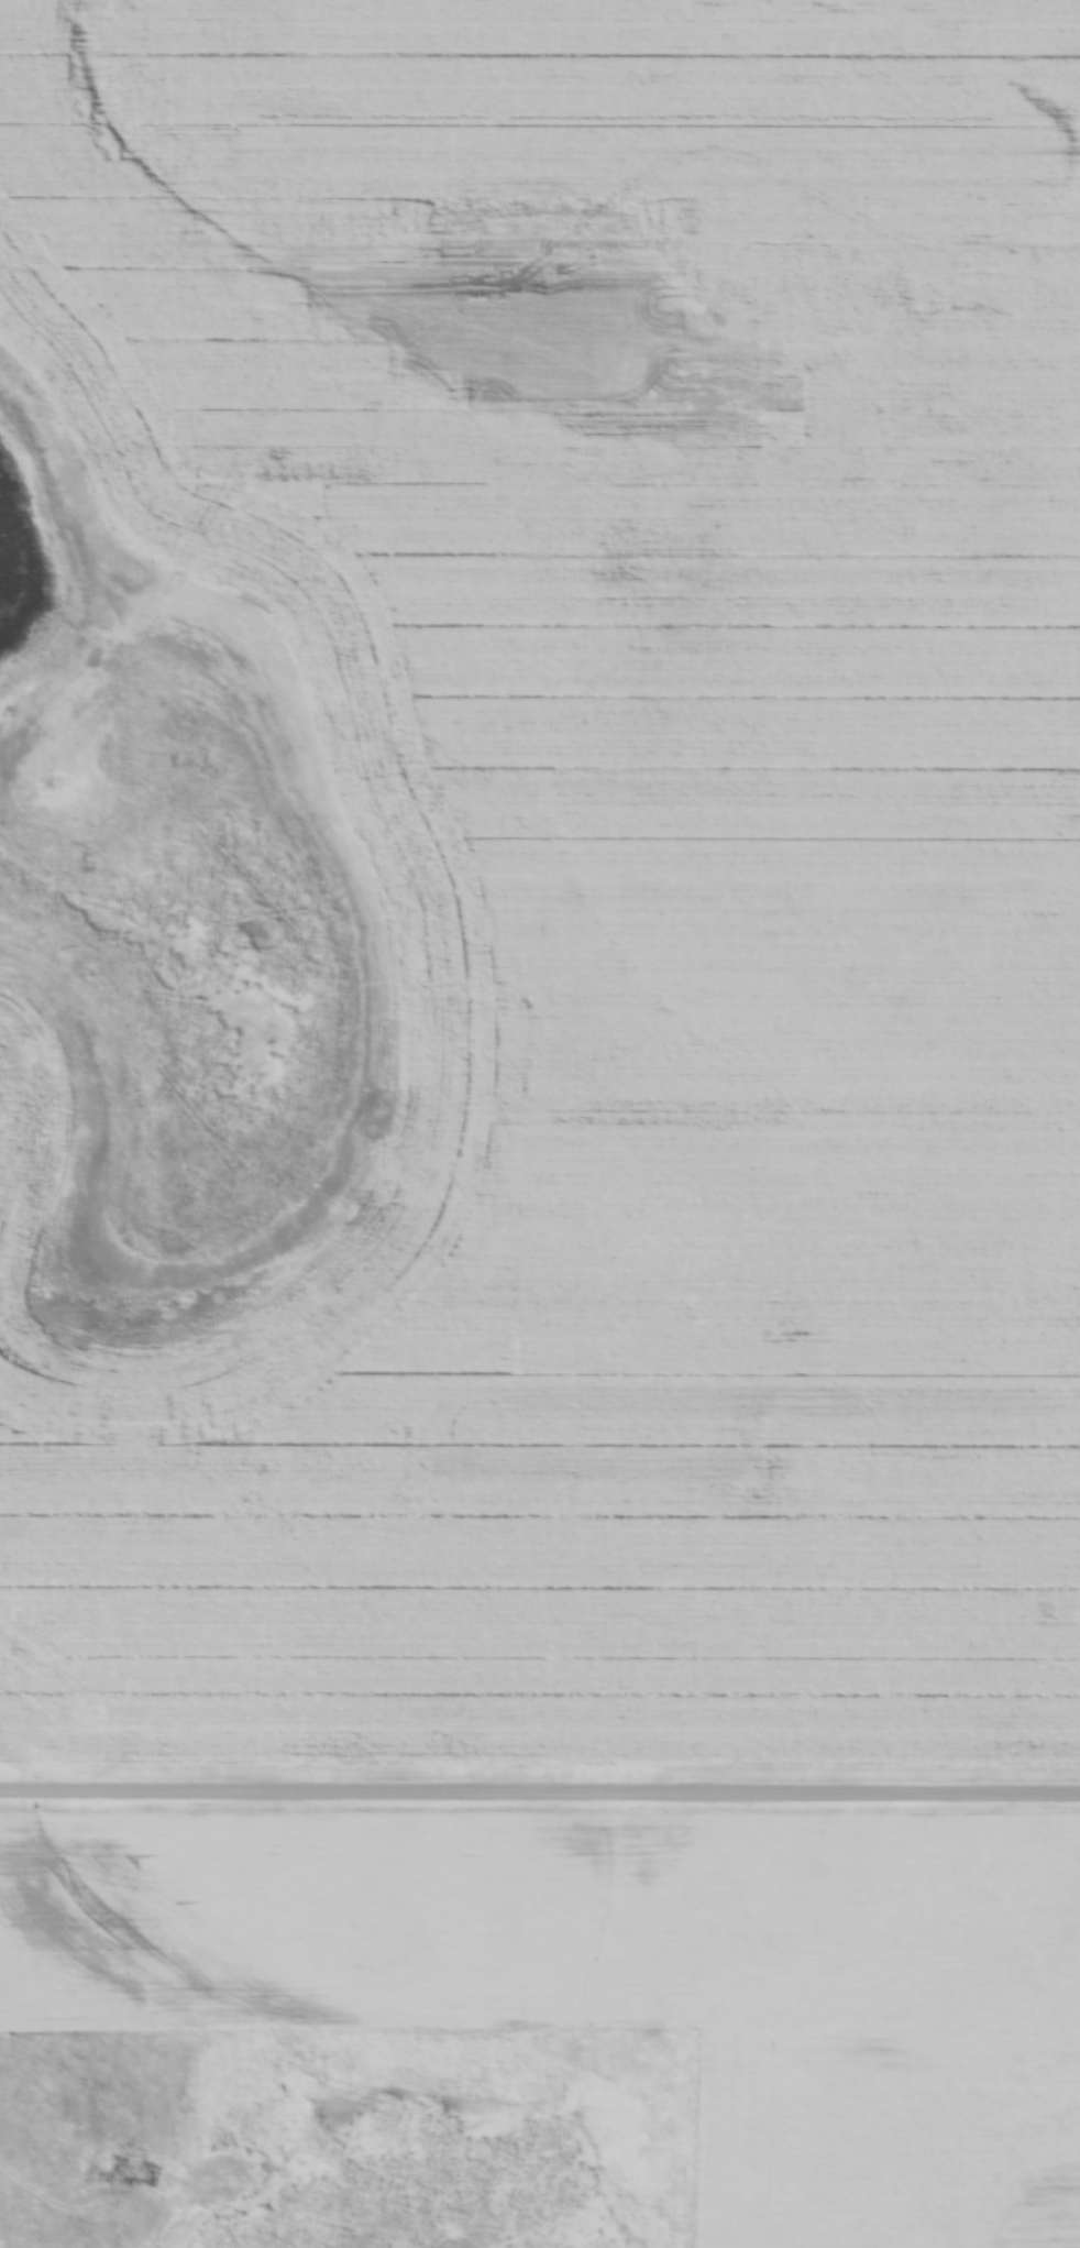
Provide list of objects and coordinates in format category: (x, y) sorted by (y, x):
road: (539, 1795)

